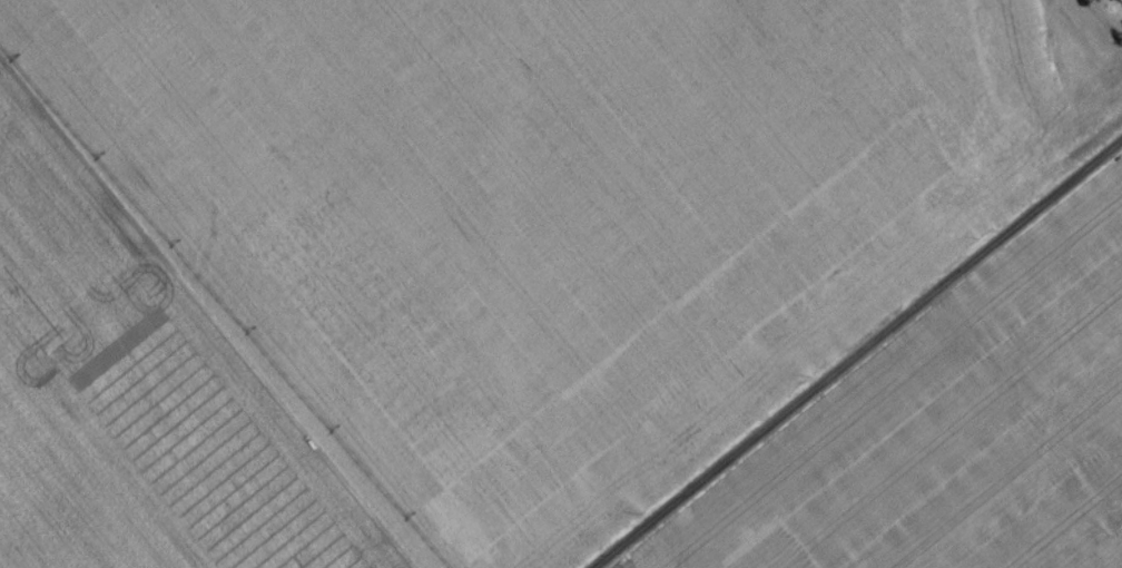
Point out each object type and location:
road: (874, 364)

